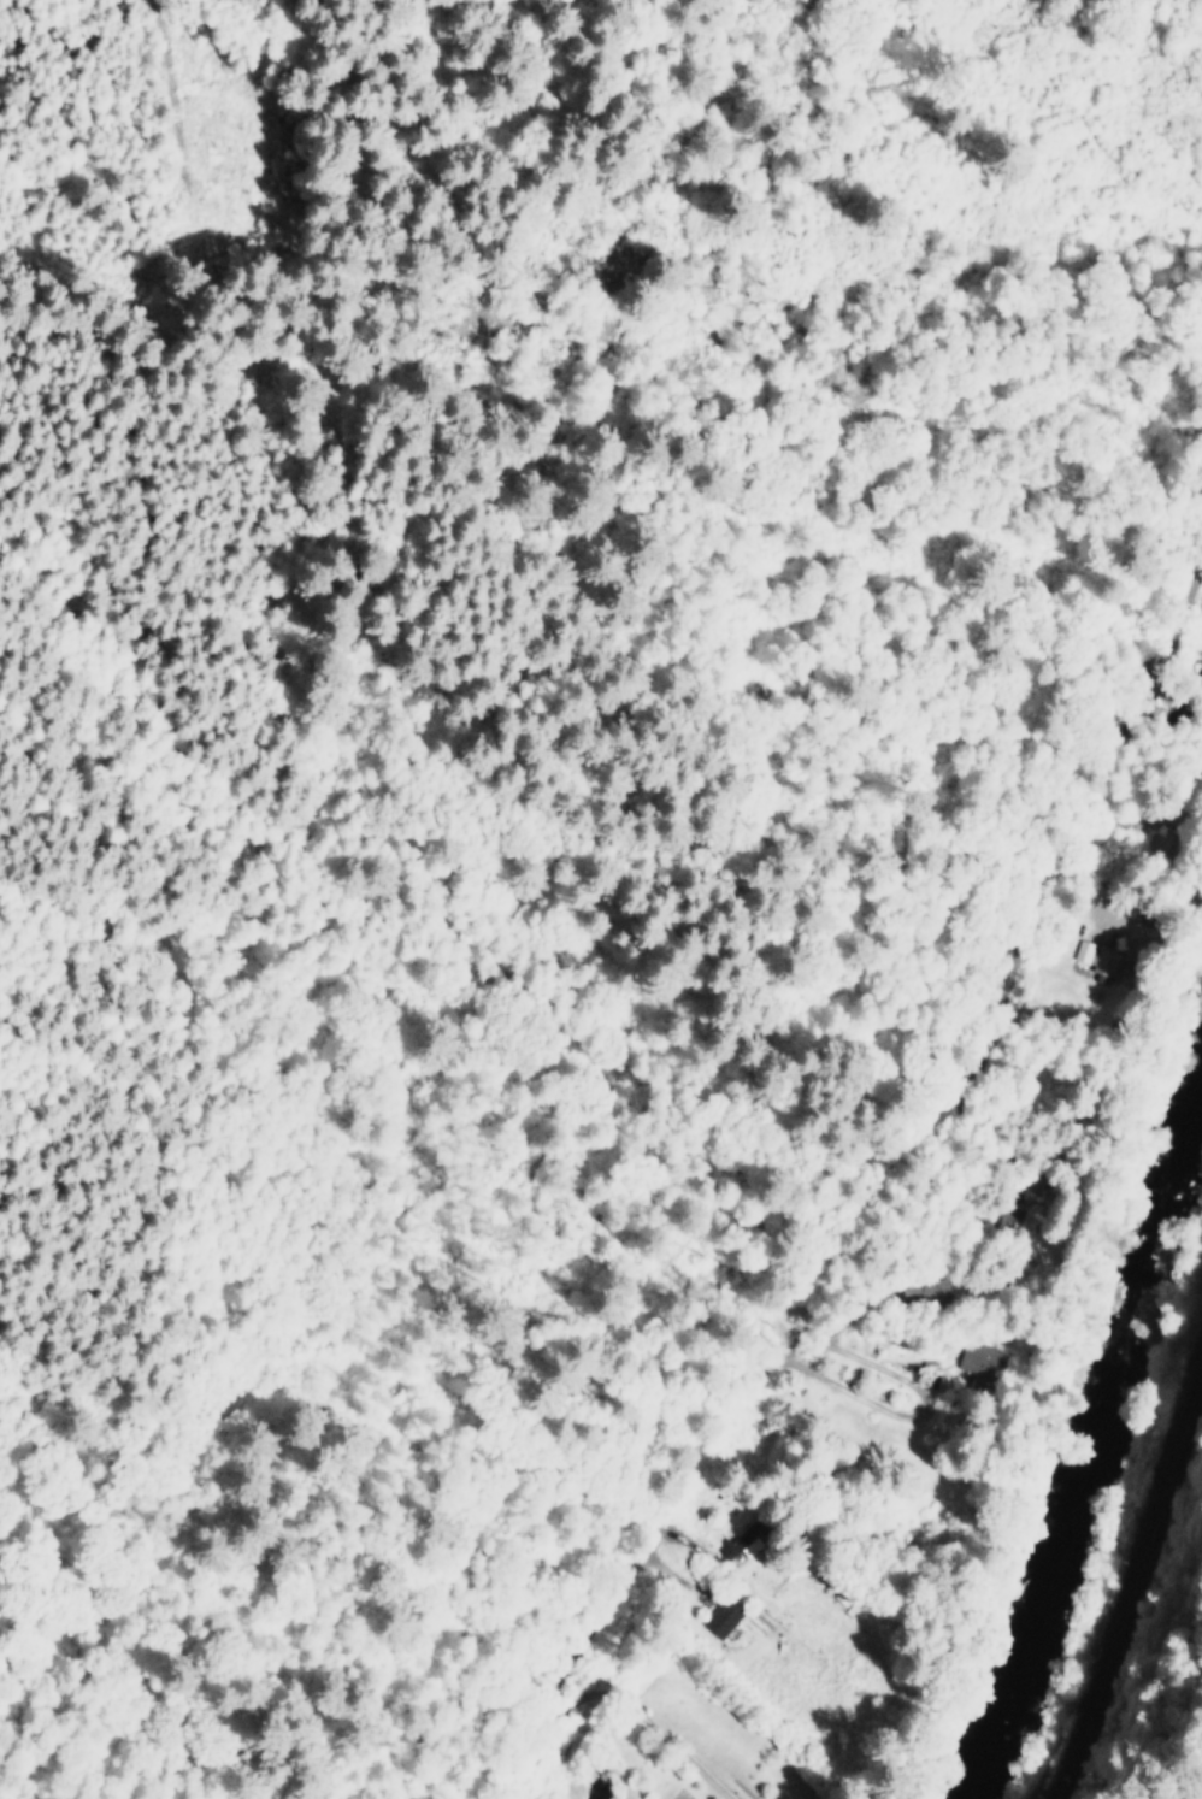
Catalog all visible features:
road: (829, 1231)
building: (978, 1359)
river: (1091, 1476)
road: (1135, 1571)
building: (719, 1617)

